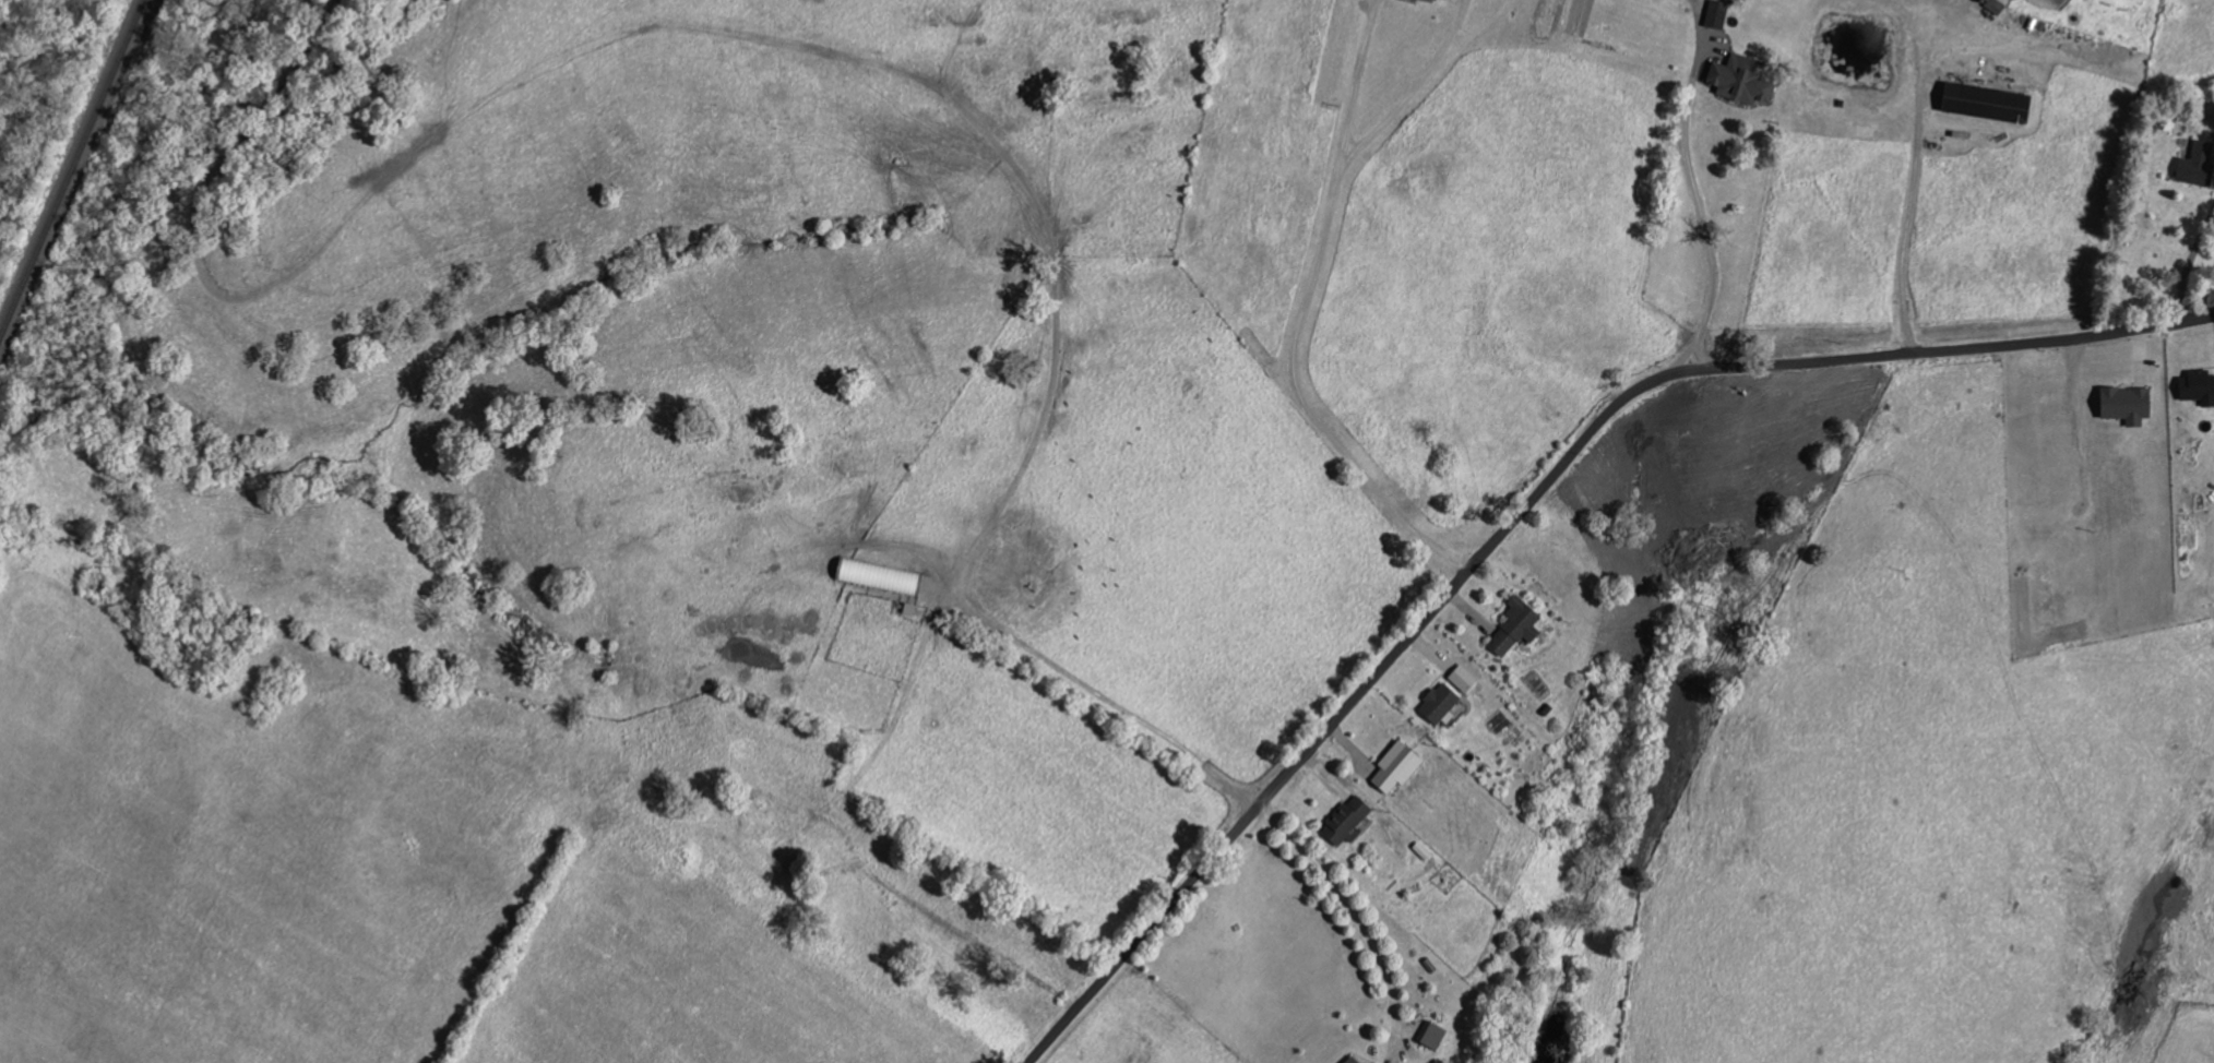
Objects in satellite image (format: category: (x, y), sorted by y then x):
building: (1989, 1)
building: (1717, 15)
road: (1358, 81)
building: (1740, 82)
building: (1986, 104)
road: (1912, 166)
building: (2198, 166)
railway: (70, 170)
road: (1691, 188)
road: (2188, 263)
road: (1307, 301)
building: (2198, 389)
building: (2127, 406)
road: (1529, 509)
building: (2047, 572)
building: (880, 577)
building: (1515, 630)
building: (1464, 680)
road: (1100, 696)
building: (1439, 705)
building: (1396, 769)
building: (1347, 823)
road: (1348, 905)
building: (1431, 1038)
building: (1352, 1061)

